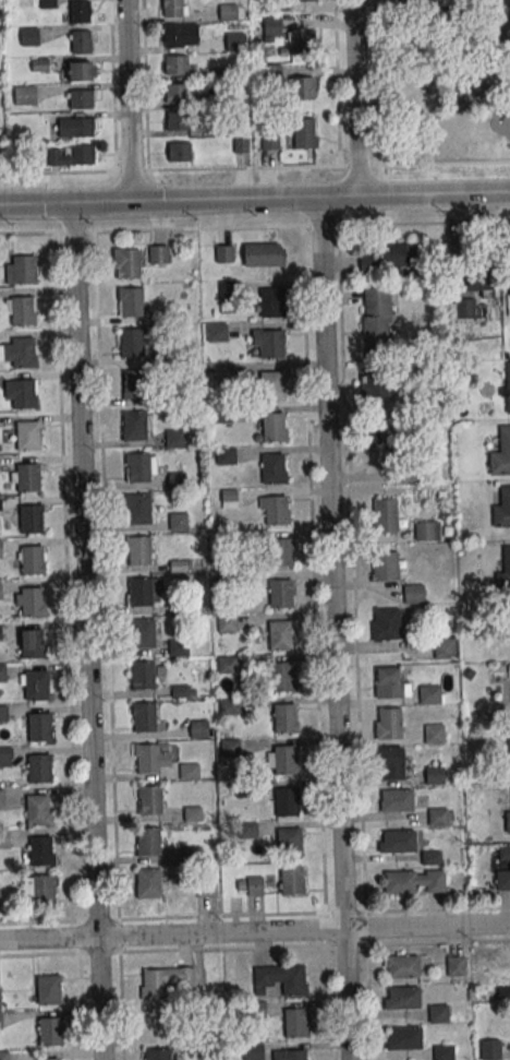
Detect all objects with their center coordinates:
building: (302, 0)
building: (412, 4)
building: (171, 8)
building: (77, 11)
building: (228, 12)
building: (272, 27)
building: (179, 34)
building: (29, 36)
building: (80, 40)
building: (234, 41)
building: (301, 41)
road: (438, 43)
building: (415, 51)
building: (174, 64)
building: (81, 70)
road: (373, 82)
park: (444, 84)
building: (302, 87)
building: (177, 93)
building: (25, 95)
road: (356, 97)
building: (82, 98)
road: (129, 100)
road: (435, 116)
building: (178, 120)
building: (77, 127)
building: (304, 134)
building: (270, 142)
building: (242, 144)
building: (178, 152)
building: (72, 155)
road: (444, 163)
road: (255, 199)
road: (254, 227)
building: (156, 253)
building: (222, 253)
building: (264, 254)
building: (388, 258)
building: (127, 263)
building: (22, 270)
building: (481, 281)
building: (508, 283)
building: (228, 289)
building: (130, 301)
building: (270, 302)
building: (21, 310)
building: (375, 321)
building: (216, 332)
building: (130, 342)
building: (269, 343)
building: (22, 352)
building: (170, 355)
building: (226, 373)
building: (374, 382)
building: (133, 383)
building: (270, 385)
building: (22, 393)
building: (507, 396)
building: (222, 414)
building: (132, 425)
building: (271, 426)
building: (26, 436)
building: (378, 436)
building: (173, 439)
building: (500, 453)
building: (224, 455)
building: (137, 467)
building: (271, 468)
building: (27, 477)
building: (177, 480)
building: (229, 497)
building: (501, 508)
building: (137, 509)
building: (275, 510)
building: (385, 512)
building: (29, 519)
building: (177, 522)
building: (427, 531)
building: (1, 548)
building: (138, 550)
building: (279, 551)
building: (31, 560)
building: (381, 565)
road: (313, 569)
road: (351, 569)
building: (503, 569)
building: (0, 589)
building: (138, 592)
building: (279, 594)
building: (413, 594)
building: (31, 602)
building: (226, 622)
building: (385, 623)
road: (333, 629)
road: (87, 631)
building: (142, 633)
building: (279, 635)
building: (31, 644)
road: (108, 645)
road: (68, 646)
building: (178, 646)
building: (445, 647)
building: (226, 665)
building: (1, 674)
building: (141, 675)
building: (279, 677)
building: (386, 682)
building: (35, 684)
building: (181, 690)
building: (428, 694)
building: (227, 706)
building: (2, 714)
building: (143, 717)
building: (283, 717)
building: (389, 723)
building: (38, 726)
building: (197, 729)
building: (433, 734)
building: (509, 738)
building: (229, 748)
building: (5, 755)
building: (146, 759)
building: (283, 760)
building: (389, 763)
building: (37, 769)
building: (187, 771)
building: (433, 775)
building: (1, 799)
building: (397, 799)
building: (148, 800)
building: (284, 802)
building: (36, 810)
building: (193, 813)
building: (437, 815)
building: (507, 822)
building: (3, 838)
building: (397, 841)
building: (147, 842)
building: (287, 843)
building: (38, 851)
building: (432, 858)
building: (509, 865)
building: (290, 880)
building: (414, 881)
building: (148, 883)
building: (250, 885)
building: (206, 886)
building: (41, 890)
road: (344, 912)
road: (254, 931)
building: (401, 965)
building: (453, 966)
building: (280, 979)
building: (165, 980)
building: (46, 989)
building: (0, 997)
building: (402, 998)
building: (437, 1013)
building: (294, 1022)
building: (0, 1023)
building: (48, 1031)
building: (403, 1038)
building: (490, 1049)
building: (252, 1051)
building: (441, 1052)
building: (157, 1053)
building: (293, 1055)
building: (3, 1056)
building: (47, 1059)

